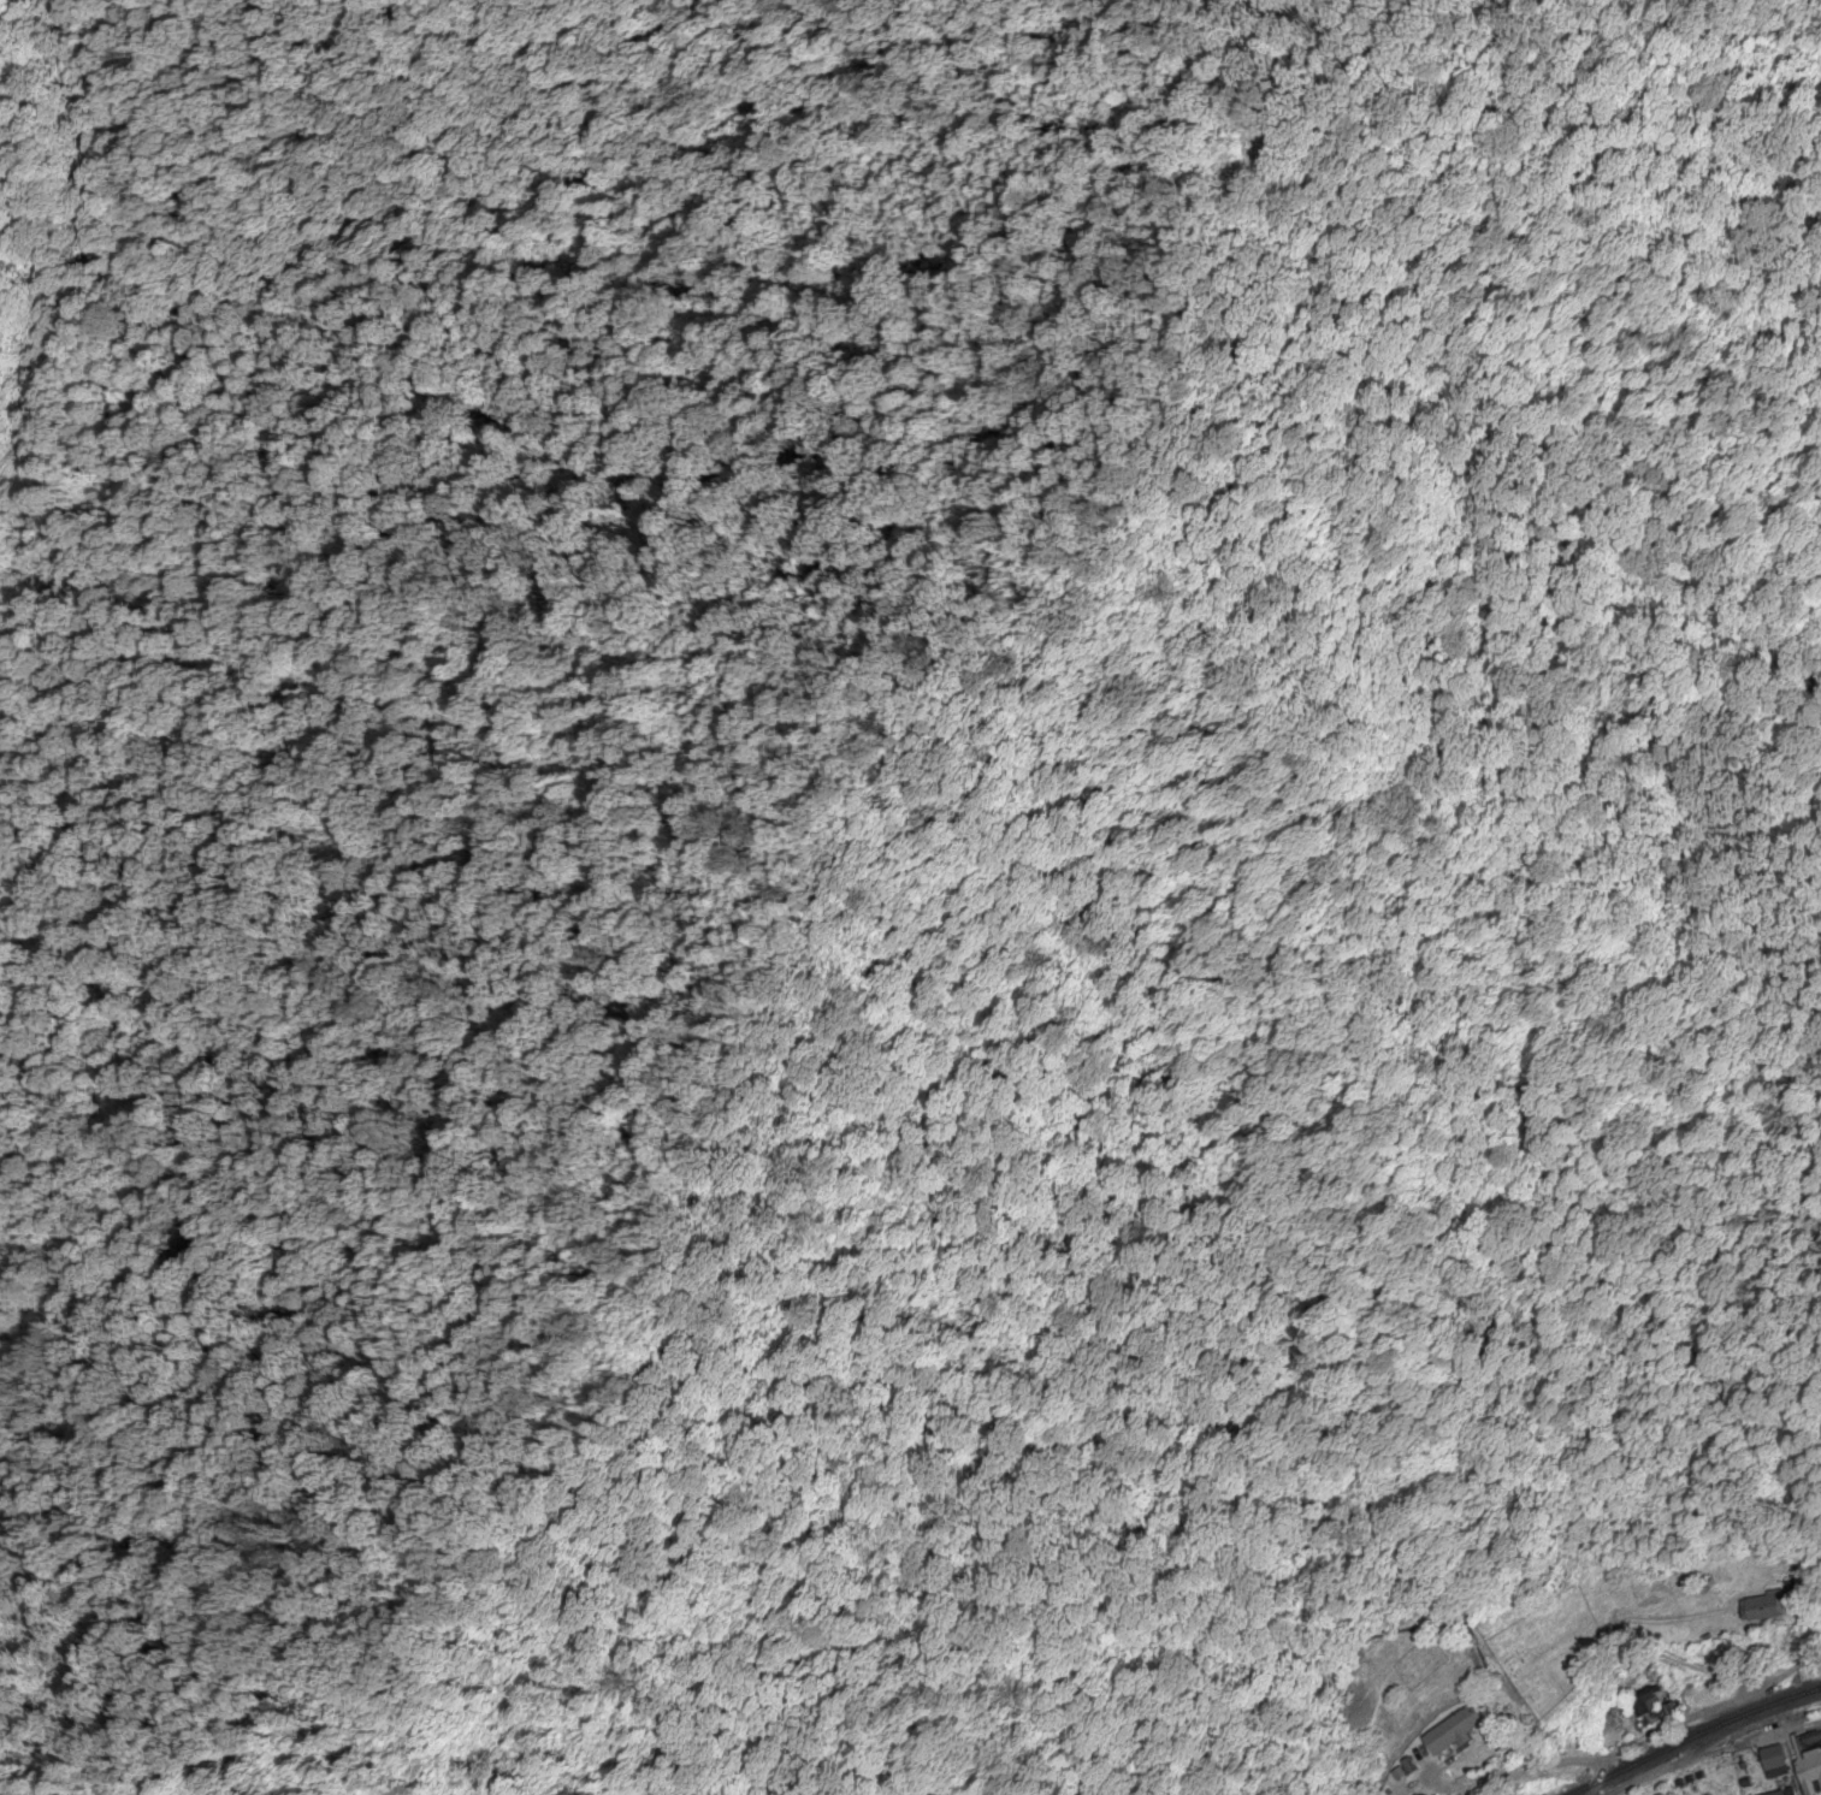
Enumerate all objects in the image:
building: (1761, 1606)
building: (1642, 1702)
building: (1450, 1730)
road: (1672, 1731)
railway: (1693, 1736)
building: (1814, 1769)
building: (1784, 1793)

